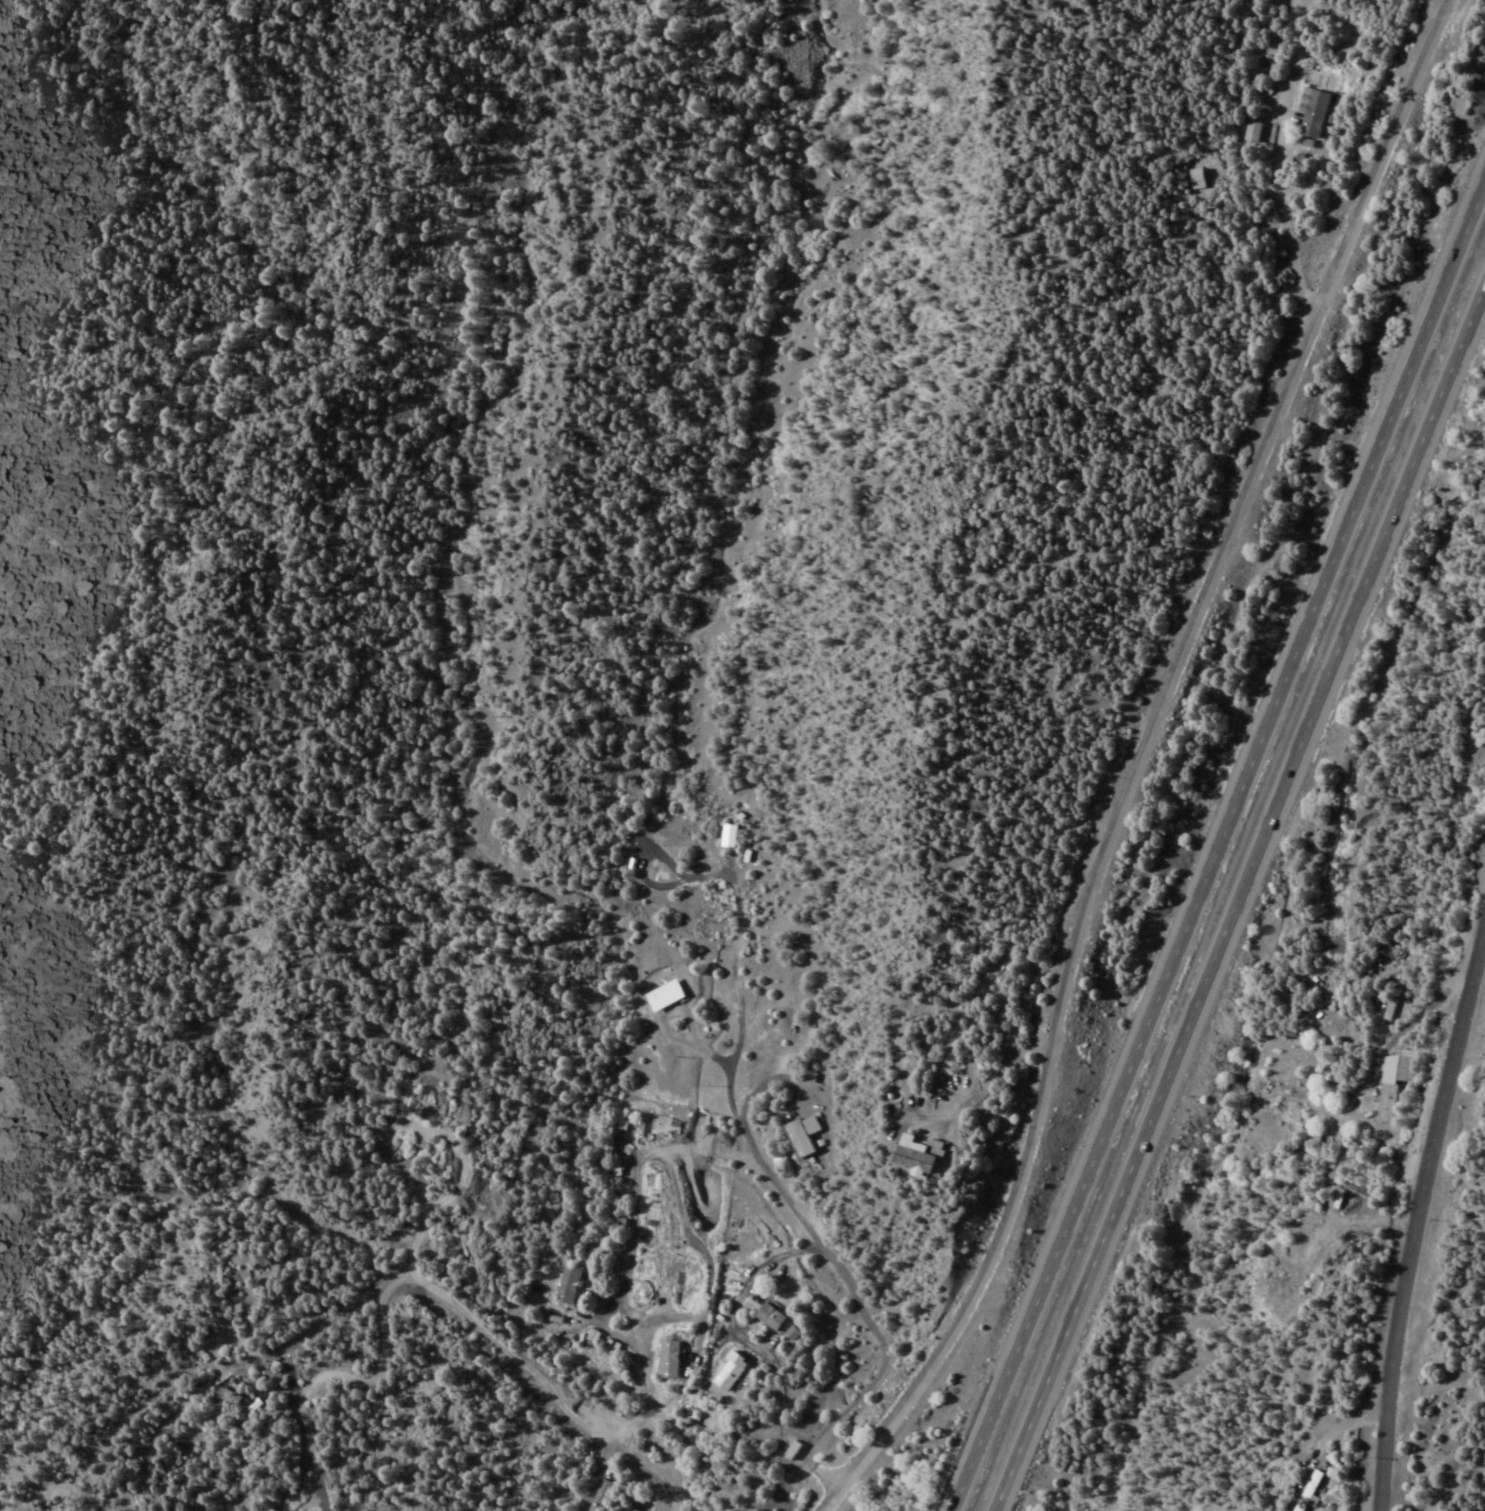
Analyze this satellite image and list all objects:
road: (1284, 2)
road: (1287, 2)
building: (1312, 114)
building: (1251, 132)
road: (1268, 163)
road: (1129, 760)
road: (1219, 853)
road: (1236, 899)
building: (1388, 1007)
building: (1392, 1082)
building: (800, 1136)
building: (912, 1156)
road: (1409, 1185)
building: (566, 1284)
building: (768, 1317)
road: (856, 1317)
building: (728, 1372)
building: (226, 1398)
road: (300, 1448)
building: (1306, 1490)

